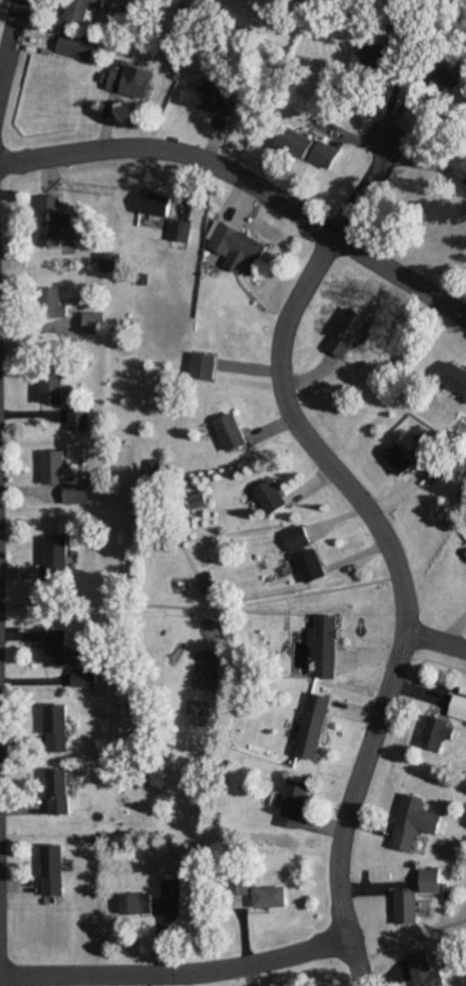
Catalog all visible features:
building: (82, 10)
road: (9, 35)
building: (74, 47)
building: (381, 55)
building: (129, 81)
building: (453, 83)
building: (209, 99)
building: (297, 143)
road: (176, 152)
building: (326, 156)
road: (358, 186)
power tower: (114, 190)
building: (156, 205)
building: (49, 221)
building: (179, 232)
building: (237, 248)
building: (110, 263)
road: (399, 277)
building: (54, 311)
building: (91, 323)
building: (345, 333)
building: (454, 379)
building: (48, 389)
building: (73, 420)
building: (231, 432)
building: (396, 459)
building: (58, 478)
building: (270, 497)
building: (195, 501)
building: (296, 539)
building: (52, 559)
building: (311, 566)
road: (400, 591)
road: (198, 605)
park: (184, 625)
road: (434, 642)
building: (322, 645)
building: (54, 646)
building: (81, 677)
building: (457, 703)
building: (128, 704)
building: (310, 725)
building: (55, 728)
building: (429, 733)
building: (57, 792)
building: (292, 804)
building: (410, 822)
building: (50, 870)
building: (428, 880)
building: (168, 888)
building: (266, 897)
building: (134, 904)
building: (402, 908)
building: (419, 970)
road: (173, 973)

